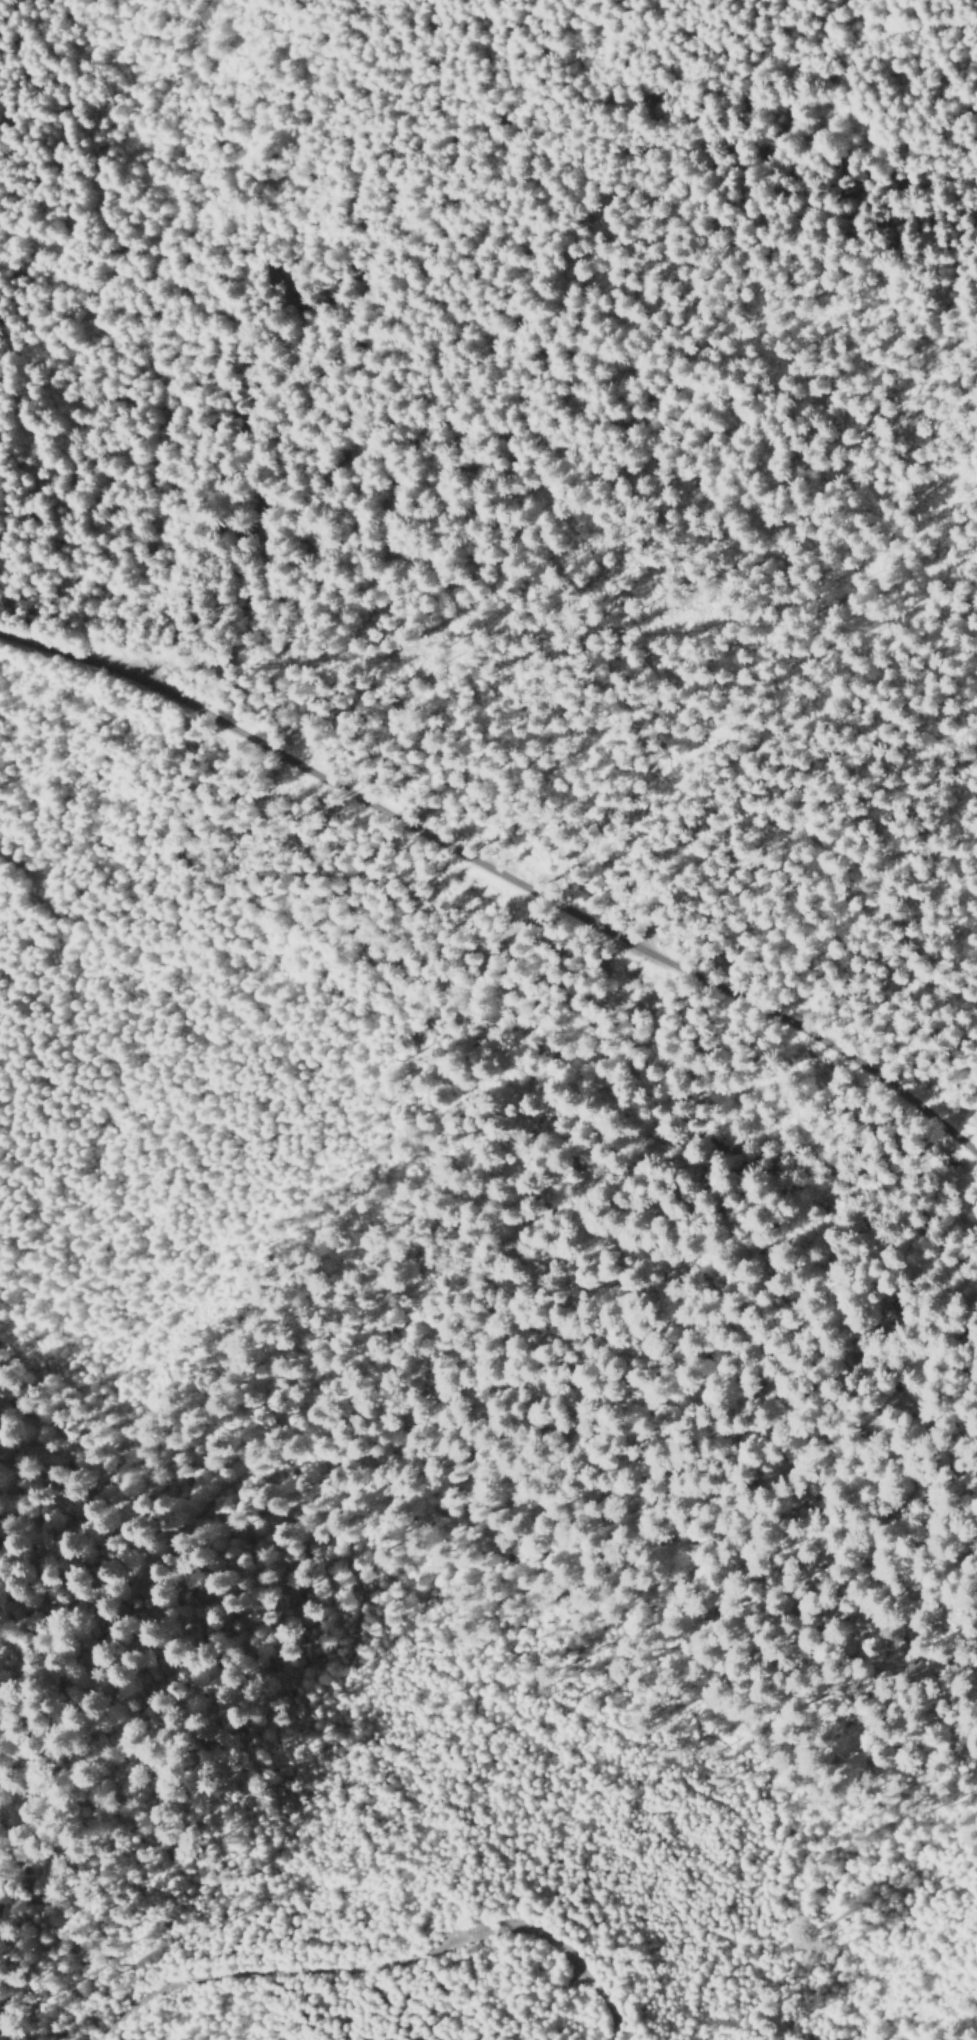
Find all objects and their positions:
road: (463, 651)
road: (499, 875)
road: (365, 1969)

